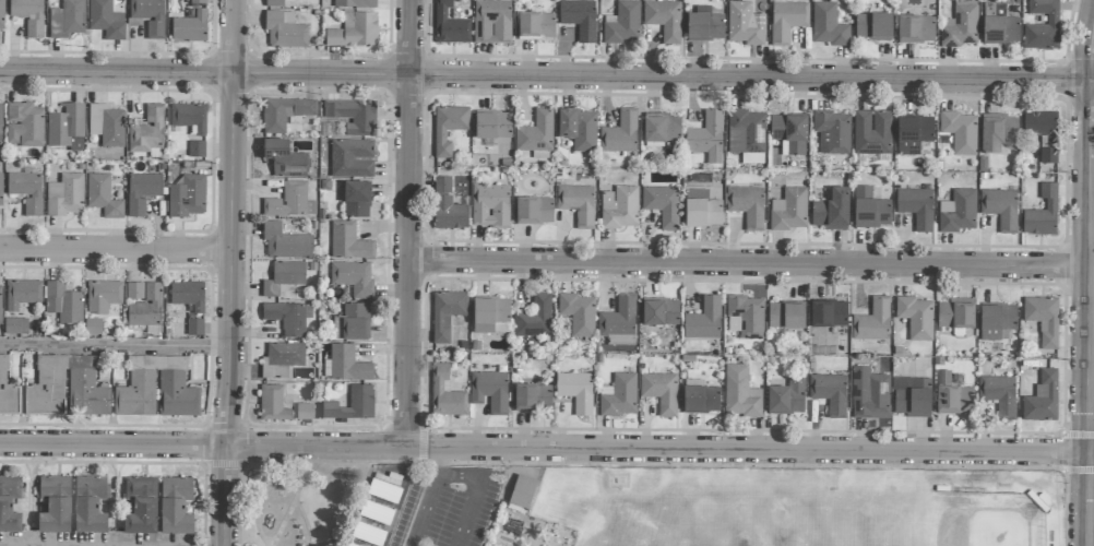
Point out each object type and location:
building: (198, 2)
building: (275, 3)
building: (354, 3)
building: (1, 14)
building: (28, 15)
building: (148, 15)
building: (580, 19)
building: (67, 20)
building: (106, 20)
building: (664, 20)
building: (787, 21)
building: (491, 22)
building: (622, 23)
building: (528, 24)
building: (745, 24)
building: (450, 25)
building: (705, 25)
building: (960, 25)
building: (999, 25)
building: (1043, 25)
building: (547, 26)
building: (828, 26)
building: (190, 27)
building: (873, 27)
building: (916, 29)
building: (284, 31)
building: (355, 32)
road: (237, 37)
road: (118, 74)
road: (665, 78)
building: (284, 114)
building: (353, 117)
building: (189, 118)
building: (0, 123)
building: (24, 124)
building: (106, 124)
building: (492, 124)
building: (67, 128)
building: (449, 128)
building: (661, 128)
building: (578, 129)
building: (536, 132)
building: (746, 132)
building: (789, 132)
building: (832, 132)
building: (872, 132)
building: (960, 132)
building: (998, 132)
building: (147, 133)
building: (620, 133)
building: (1043, 133)
building: (705, 134)
building: (913, 134)
building: (197, 149)
building: (284, 158)
building: (352, 158)
building: (0, 189)
building: (26, 190)
building: (142, 192)
building: (66, 195)
building: (103, 197)
building: (187, 197)
building: (356, 200)
building: (290, 202)
building: (578, 202)
building: (490, 205)
building: (662, 205)
building: (747, 205)
building: (448, 206)
building: (620, 207)
building: (916, 207)
building: (702, 209)
building: (1000, 209)
building: (789, 210)
building: (870, 210)
building: (534, 211)
building: (831, 211)
building: (959, 212)
building: (1043, 213)
road: (412, 223)
building: (285, 242)
building: (348, 242)
road: (117, 250)
road: (752, 263)
building: (284, 277)
building: (353, 277)
building: (22, 294)
building: (188, 295)
building: (103, 296)
building: (0, 301)
building: (63, 302)
building: (143, 304)
road: (235, 310)
building: (659, 312)
building: (447, 313)
building: (489, 313)
building: (579, 313)
building: (829, 313)
building: (956, 313)
building: (746, 316)
building: (786, 316)
building: (288, 317)
building: (534, 318)
building: (916, 318)
building: (1043, 319)
building: (704, 320)
building: (872, 321)
building: (352, 322)
building: (619, 322)
building: (997, 322)
building: (15, 325)
building: (92, 327)
building: (194, 328)
road: (117, 347)
building: (285, 354)
building: (347, 365)
building: (50, 378)
building: (7, 391)
building: (489, 391)
building: (575, 391)
building: (661, 391)
building: (740, 392)
building: (445, 393)
building: (830, 393)
building: (136, 394)
building: (869, 394)
building: (953, 394)
building: (999, 394)
building: (177, 395)
building: (618, 395)
building: (787, 396)
building: (532, 397)
building: (700, 397)
building: (1042, 399)
building: (913, 400)
building: (272, 403)
building: (352, 404)
road: (1093, 406)
building: (304, 412)
road: (547, 448)
road: (437, 473)
road: (479, 482)
building: (522, 491)
park: (304, 501)
building: (55, 503)
building: (9, 505)
building: (90, 505)
building: (141, 506)
building: (175, 506)
parking lot: (448, 506)
road: (424, 511)
building: (368, 534)

